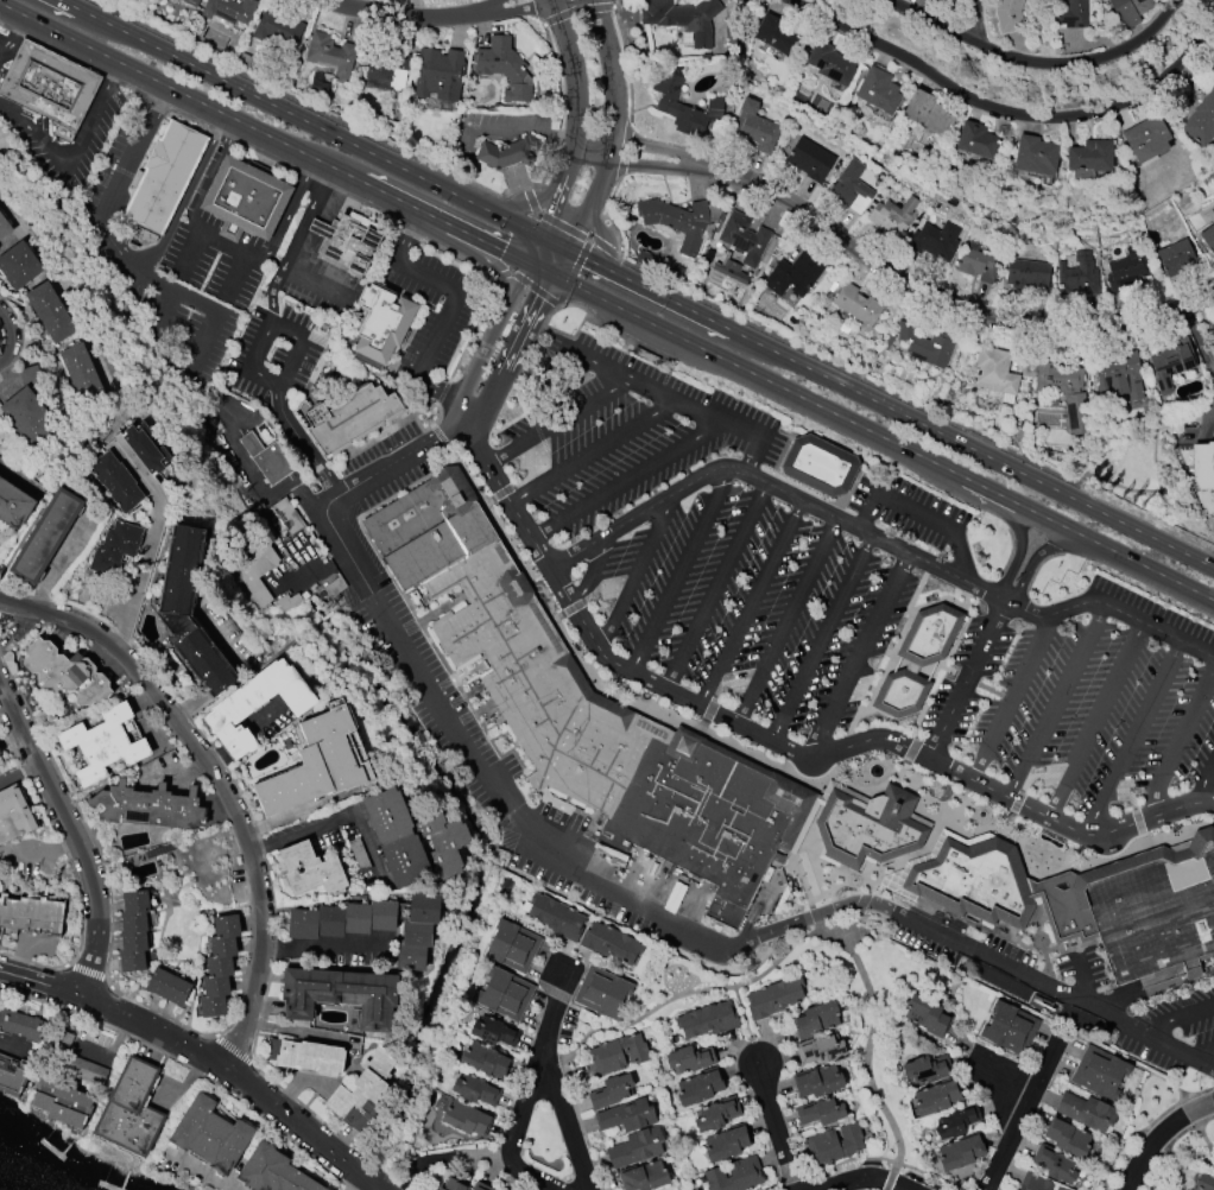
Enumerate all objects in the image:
building: (941, 1)
building: (191, 2)
road: (489, 6)
road: (520, 10)
building: (229, 11)
building: (1131, 11)
building: (1073, 14)
road: (403, 15)
building: (1008, 15)
building: (684, 18)
road: (979, 20)
building: (278, 29)
road: (13, 36)
building: (777, 36)
parking lot: (6, 49)
building: (330, 56)
building: (832, 63)
road: (1036, 63)
building: (1212, 67)
building: (504, 68)
building: (385, 74)
building: (438, 81)
building: (49, 87)
road: (613, 87)
building: (879, 90)
building: (666, 100)
road: (308, 103)
road: (1006, 112)
building: (928, 114)
road: (297, 118)
road: (574, 120)
building: (1201, 121)
road: (517, 126)
building: (755, 128)
road: (261, 133)
parking lot: (89, 138)
building: (1147, 140)
building: (978, 141)
road: (77, 146)
road: (663, 148)
building: (506, 152)
building: (1092, 156)
building: (1037, 157)
building: (811, 160)
road: (639, 164)
building: (164, 177)
building: (852, 188)
road: (185, 196)
road: (593, 196)
building: (244, 200)
road: (530, 201)
traffic signals: (548, 214)
building: (894, 216)
road: (306, 217)
building: (683, 223)
road: (561, 226)
building: (4, 227)
building: (140, 238)
building: (1209, 239)
road: (551, 242)
building: (932, 242)
road: (110, 243)
building: (346, 243)
road: (225, 246)
building: (741, 246)
road: (605, 247)
road: (531, 249)
traffic signals: (502, 252)
road: (189, 255)
building: (1177, 258)
traffic signals: (584, 259)
road: (557, 261)
building: (976, 262)
building: (18, 265)
building: (1128, 270)
road: (574, 271)
road: (500, 276)
building: (1080, 276)
building: (795, 277)
building: (1029, 277)
road: (234, 278)
road: (315, 283)
road: (533, 289)
road: (646, 289)
road: (271, 296)
traffic signals: (539, 297)
road: (453, 302)
road: (949, 303)
road: (164, 308)
building: (856, 308)
road: (621, 309)
building: (50, 312)
parking lot: (429, 312)
building: (380, 324)
road: (268, 329)
building: (1212, 330)
road: (13, 338)
road: (487, 341)
building: (925, 346)
road: (511, 354)
building: (645, 356)
road: (563, 357)
building: (1176, 361)
building: (81, 374)
building: (998, 374)
building: (1120, 375)
building: (1064, 391)
building: (29, 410)
building: (349, 417)
road: (712, 417)
road: (558, 423)
parking lot: (619, 431)
road: (298, 441)
building: (145, 449)
road: (970, 449)
road: (592, 451)
building: (266, 458)
building: (818, 466)
building: (1203, 466)
parking lot: (387, 467)
road: (20, 476)
road: (965, 479)
road: (627, 480)
building: (115, 481)
road: (773, 487)
building: (14, 505)
parking lot: (906, 507)
road: (921, 515)
building: (45, 536)
road: (151, 539)
building: (114, 546)
road: (1019, 549)
road: (305, 556)
road: (1036, 557)
road: (592, 570)
road: (636, 570)
road: (681, 570)
road: (321, 571)
building: (255, 572)
road: (715, 585)
building: (331, 589)
building: (289, 602)
road: (750, 603)
parking lot: (753, 607)
building: (189, 612)
road: (1039, 616)
road: (785, 621)
road: (1146, 625)
road: (821, 638)
road: (859, 654)
building: (916, 660)
road: (258, 667)
building: (65, 672)
road: (965, 679)
road: (1011, 697)
road: (1056, 701)
building: (258, 705)
parking lot: (1082, 705)
road: (1094, 720)
building: (617, 723)
road: (1132, 739)
road: (1178, 740)
road: (777, 743)
building: (102, 745)
building: (318, 762)
building: (0, 765)
road: (19, 771)
road: (1203, 784)
road: (222, 785)
building: (148, 806)
building: (13, 815)
road: (342, 818)
road: (74, 836)
building: (413, 840)
road: (46, 850)
building: (308, 869)
road: (617, 894)
road: (867, 894)
building: (1082, 899)
road: (861, 903)
building: (31, 913)
building: (555, 917)
road: (814, 919)
building: (343, 920)
building: (133, 931)
building: (417, 932)
road: (835, 939)
building: (611, 944)
building: (512, 947)
road: (327, 949)
building: (220, 966)
road: (1083, 977)
road: (39, 983)
building: (167, 986)
building: (603, 993)
road: (690, 993)
building: (505, 994)
parking lot: (1074, 994)
building: (341, 995)
building: (774, 998)
road: (554, 1006)
building: (927, 1014)
road: (1175, 1018)
building: (708, 1020)
building: (816, 1020)
building: (20, 1025)
road: (289, 1030)
building: (1010, 1030)
road: (153, 1031)
building: (493, 1031)
road: (867, 1045)
building: (821, 1050)
road: (13, 1051)
road: (1202, 1053)
building: (619, 1055)
building: (305, 1057)
building: (690, 1059)
building: (485, 1061)
building: (928, 1069)
building: (84, 1070)
building: (1100, 1072)
road: (999, 1075)
building: (11, 1076)
building: (818, 1082)
building: (700, 1087)
building: (475, 1090)
building: (611, 1091)
building: (362, 1093)
building: (936, 1099)
building: (62, 1102)
building: (131, 1110)
road: (1022, 1110)
building: (1087, 1112)
building: (822, 1113)
road: (563, 1114)
building: (717, 1115)
building: (627, 1116)
building: (466, 1119)
building: (957, 1122)
road: (516, 1125)
road: (774, 1127)
road: (303, 1131)
building: (210, 1135)
road: (1159, 1135)
building: (1068, 1138)
building: (727, 1144)
building: (835, 1144)
building: (637, 1148)
building: (961, 1152)
road: (448, 1156)
building: (1054, 1164)
road: (204, 1172)
building: (273, 1172)
building: (736, 1175)
building: (645, 1177)
road: (865, 1179)
building: (1035, 1182)
road: (355, 1183)
building: (1204, 1183)
building: (454, 1185)
building: (480, 1186)
building: (437, 1189)
building: (1060, 1189)

